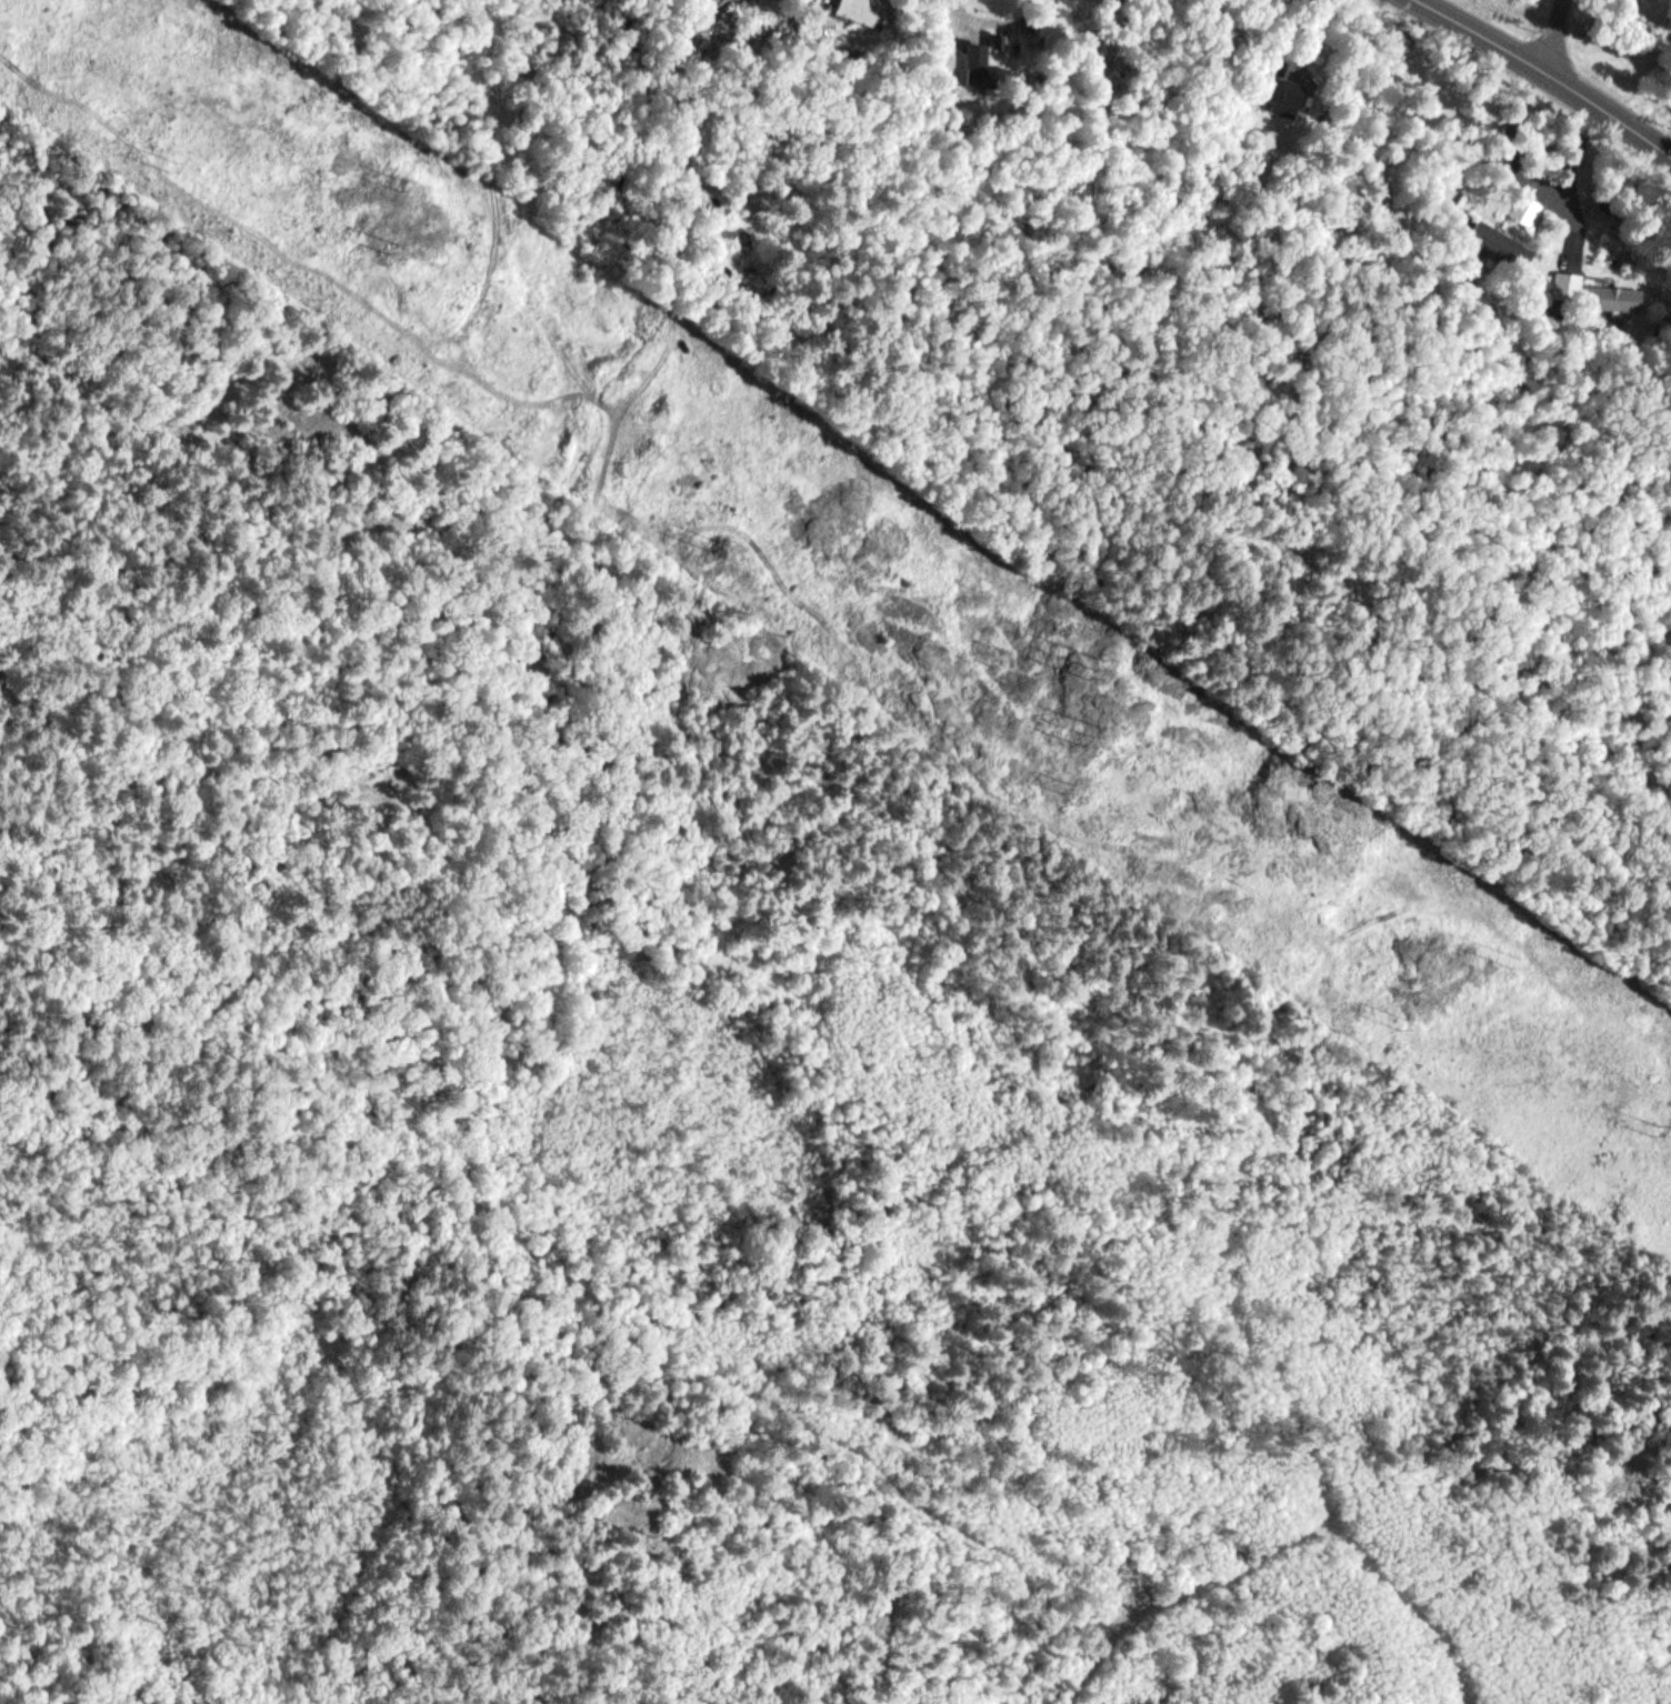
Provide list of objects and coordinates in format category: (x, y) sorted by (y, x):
building: (864, 12)
building: (1053, 28)
road: (1484, 36)
road: (1548, 36)
building: (980, 64)
building: (1278, 89)
road: (1603, 121)
power tower: (166, 169)
power tower: (403, 187)
building: (1527, 212)
building: (1500, 245)
power tower: (392, 251)
building: (1572, 288)
building: (1617, 299)
power tower: (714, 547)
power tower: (1095, 671)
power tower: (1090, 738)
power tower: (1063, 794)
power tower: (1520, 960)
power tower: (1405, 1021)
power tower: (1663, 1130)

